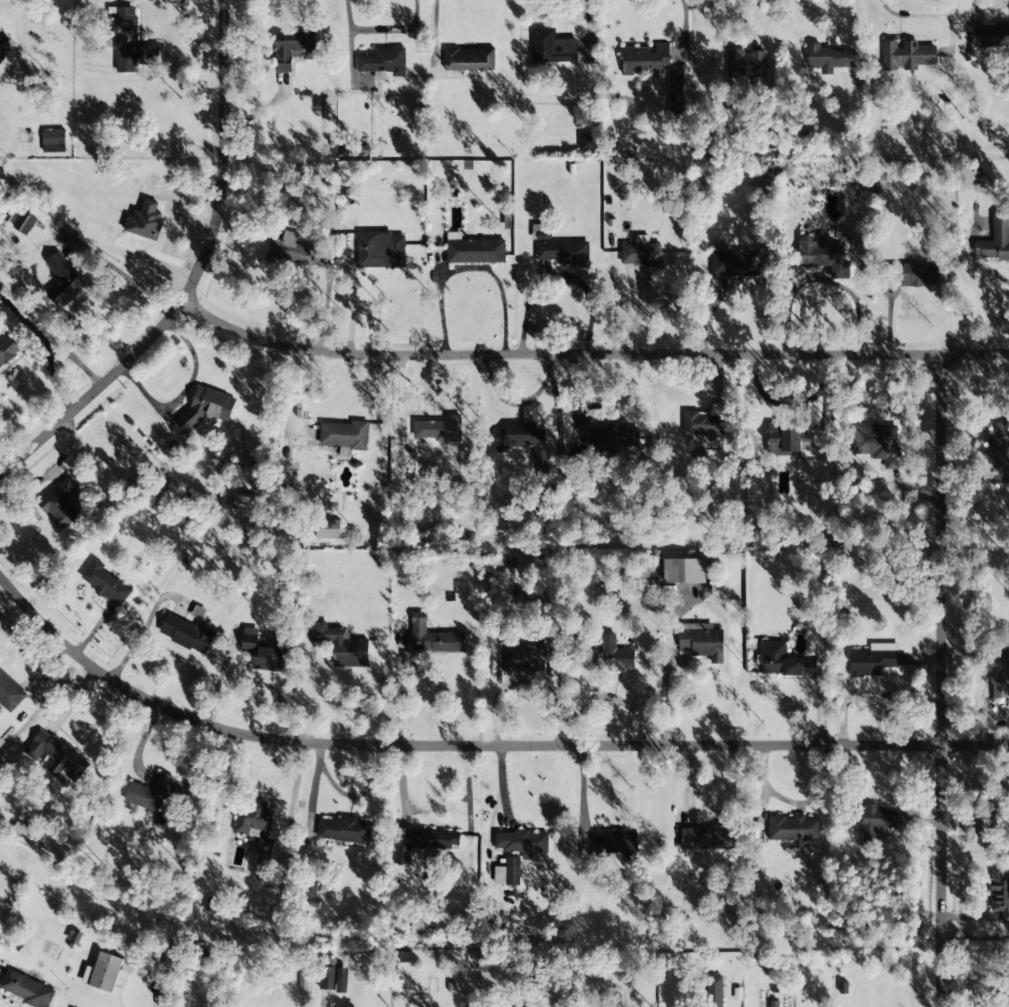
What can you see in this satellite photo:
road: (586, 27)
road: (683, 28)
building: (994, 34)
building: (127, 39)
building: (552, 46)
building: (293, 47)
building: (3, 48)
building: (906, 55)
building: (829, 57)
building: (469, 59)
building: (643, 60)
building: (381, 61)
building: (746, 63)
building: (675, 98)
building: (53, 140)
building: (587, 141)
building: (24, 222)
building: (995, 239)
building: (558, 248)
building: (381, 249)
building: (474, 249)
building: (288, 251)
building: (641, 254)
building: (824, 254)
building: (733, 262)
building: (910, 274)
road: (195, 276)
building: (64, 278)
building: (7, 349)
road: (590, 354)
building: (207, 406)
building: (704, 427)
building: (435, 429)
building: (342, 434)
building: (613, 436)
building: (790, 438)
building: (527, 440)
building: (877, 441)
building: (999, 452)
building: (59, 503)
building: (328, 528)
building: (686, 570)
building: (106, 578)
building: (186, 633)
building: (433, 637)
building: (702, 641)
building: (340, 645)
building: (262, 652)
building: (522, 656)
building: (612, 659)
building: (873, 660)
building: (783, 661)
building: (999, 675)
road: (942, 681)
building: (9, 692)
building: (1, 742)
road: (477, 744)
building: (57, 756)
building: (149, 793)
building: (875, 819)
building: (254, 822)
building: (792, 828)
building: (22, 829)
building: (343, 829)
building: (708, 838)
building: (520, 841)
building: (421, 842)
building: (614, 845)
building: (512, 870)
building: (1000, 893)
building: (210, 905)
building: (73, 936)
building: (107, 973)
building: (326, 974)
building: (303, 980)
building: (26, 989)
building: (714, 991)
building: (773, 1003)

